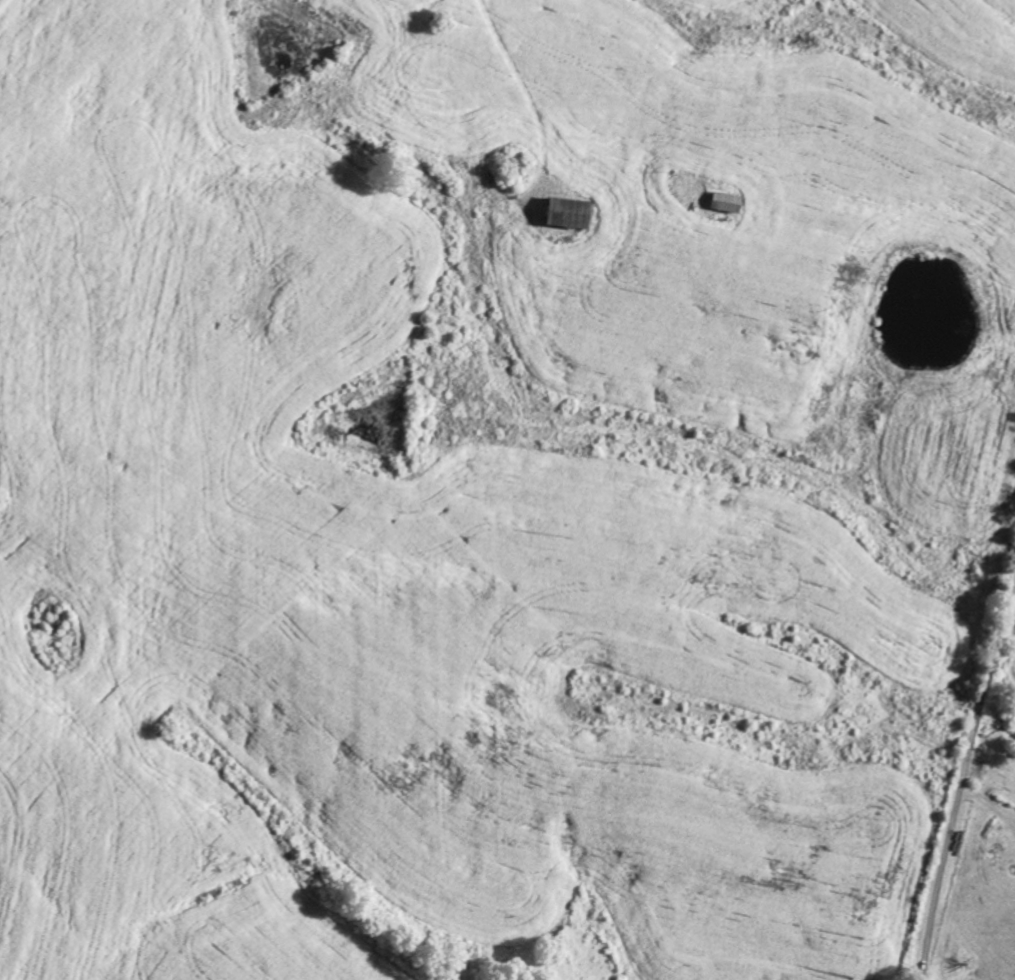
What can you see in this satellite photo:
building: (721, 206)
road: (963, 781)

